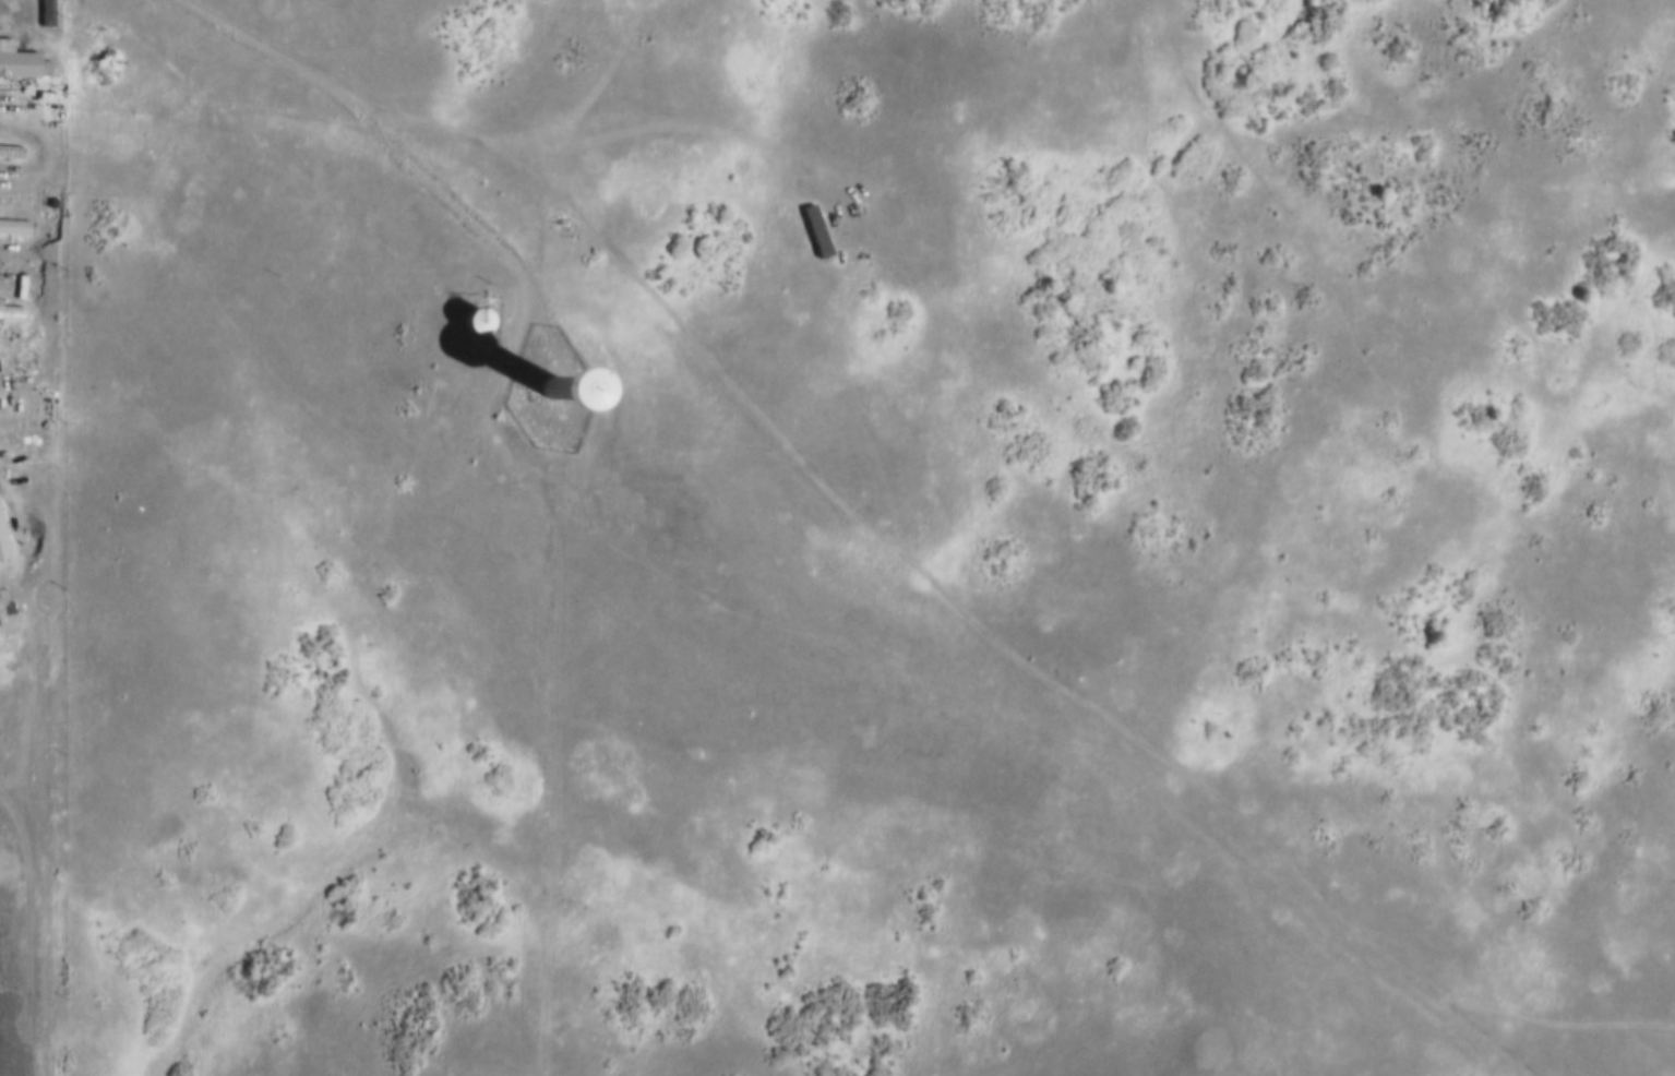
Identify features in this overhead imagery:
building: (46, 11)
building: (16, 58)
road: (382, 129)
building: (11, 148)
building: (814, 229)
building: (10, 308)
water tower: (470, 319)
building: (476, 323)
building: (529, 370)
water tower: (549, 388)
building: (3, 538)

